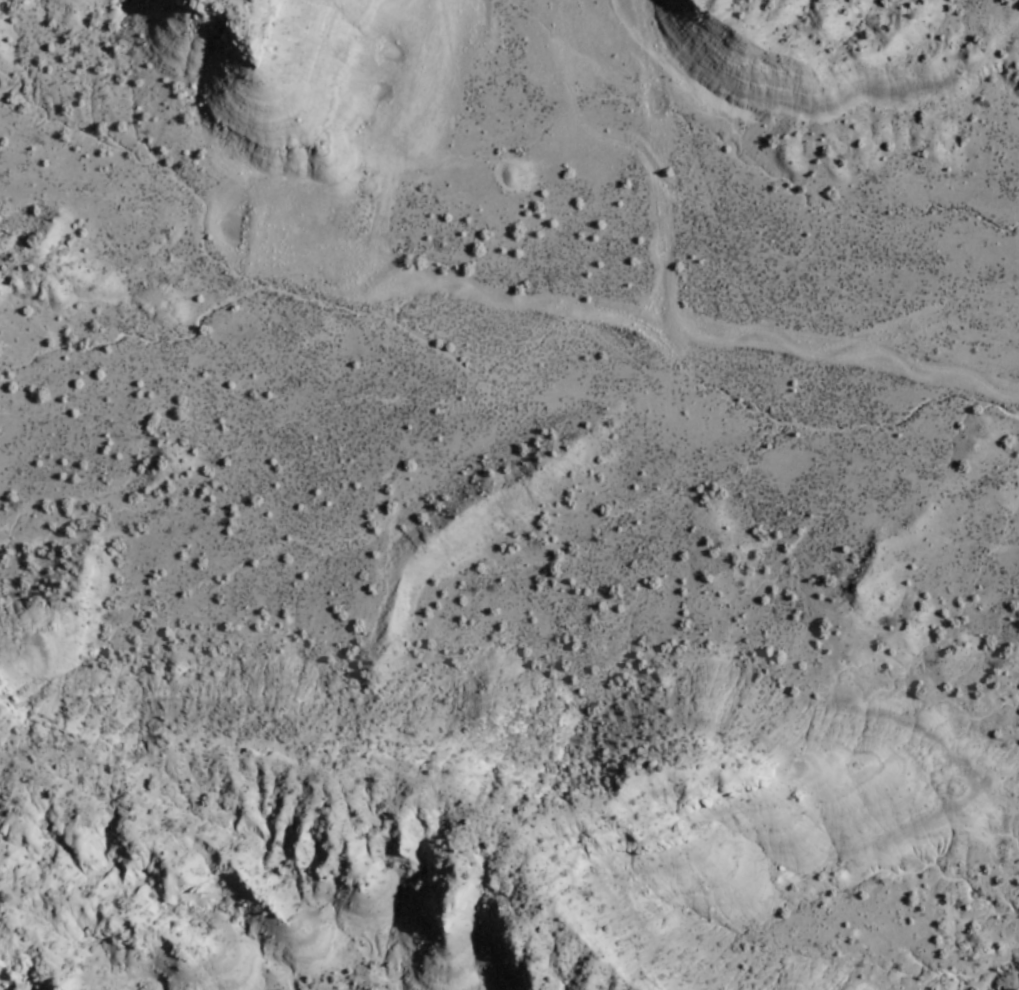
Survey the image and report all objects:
road: (685, 164)
road: (701, 329)

